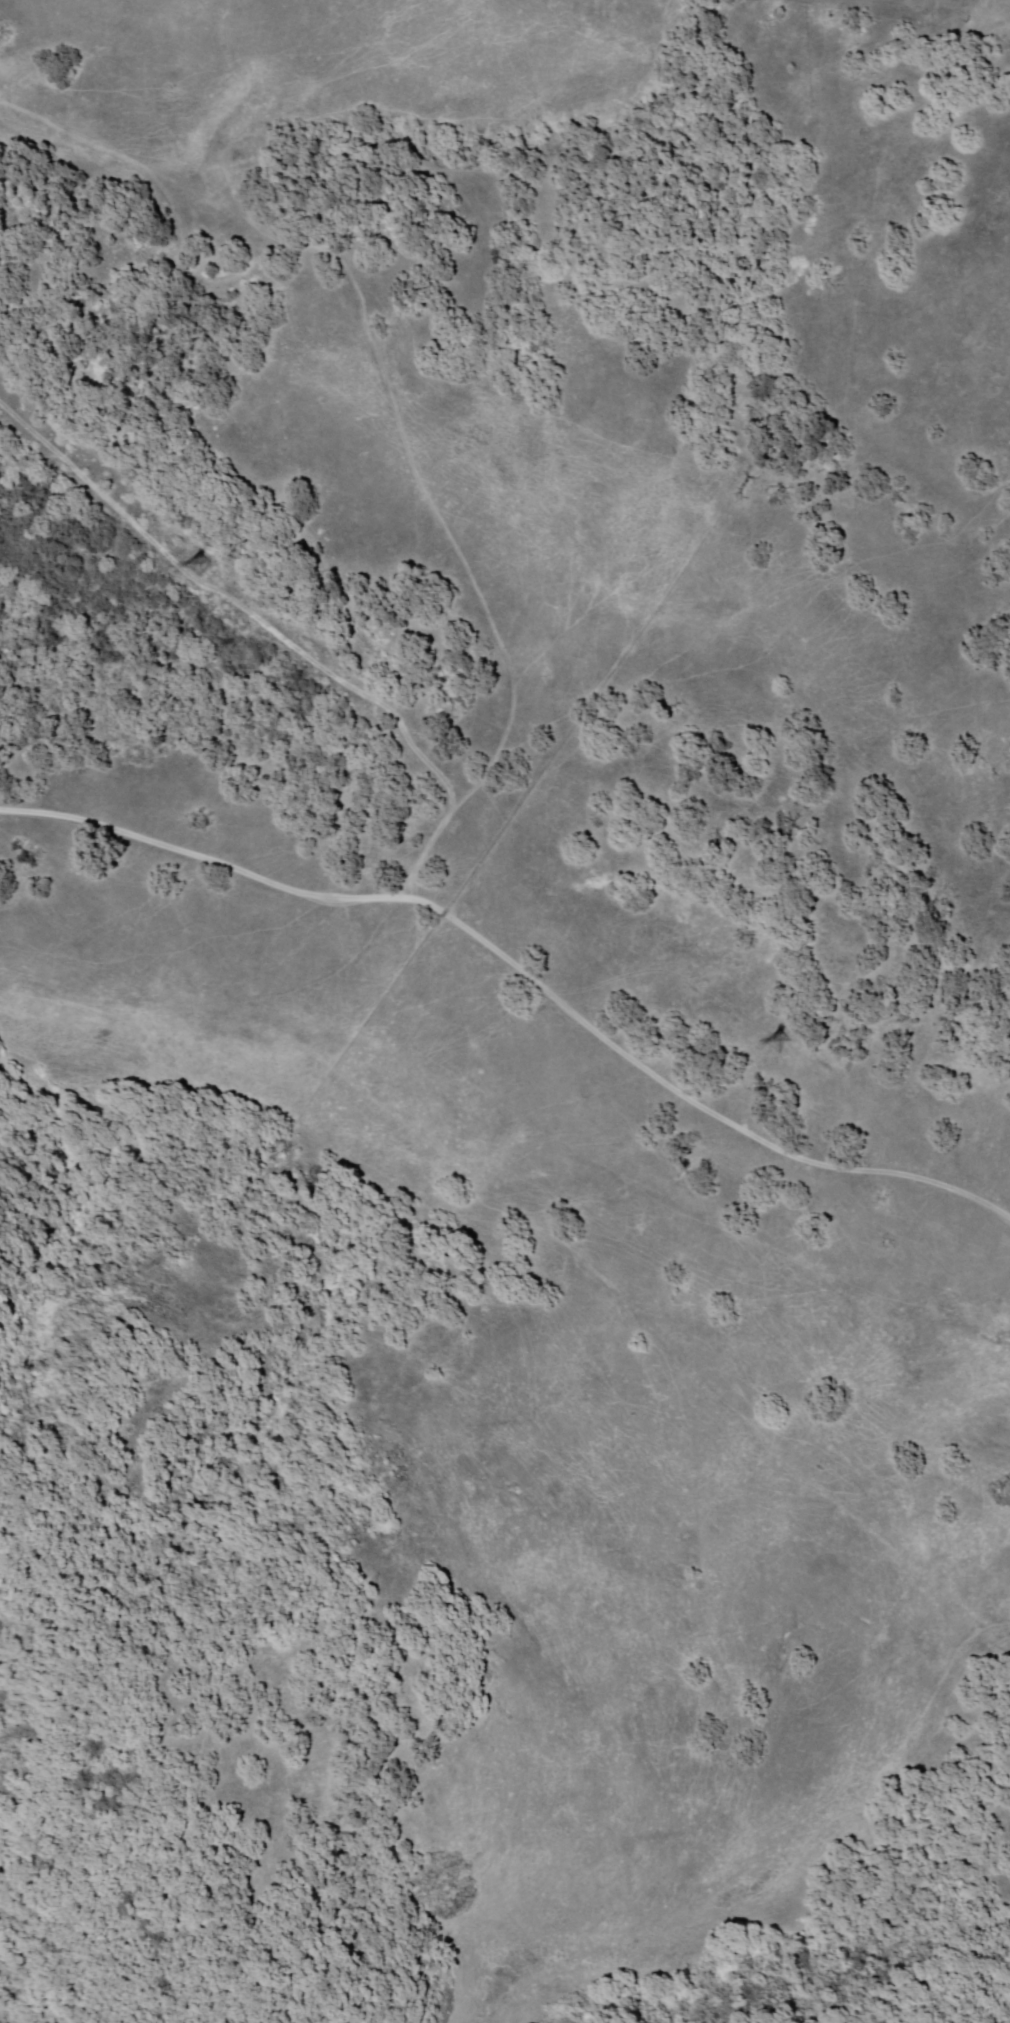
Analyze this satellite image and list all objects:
power tower: (190, 564)
road: (521, 971)
power tower: (777, 1041)
road: (920, 1979)

